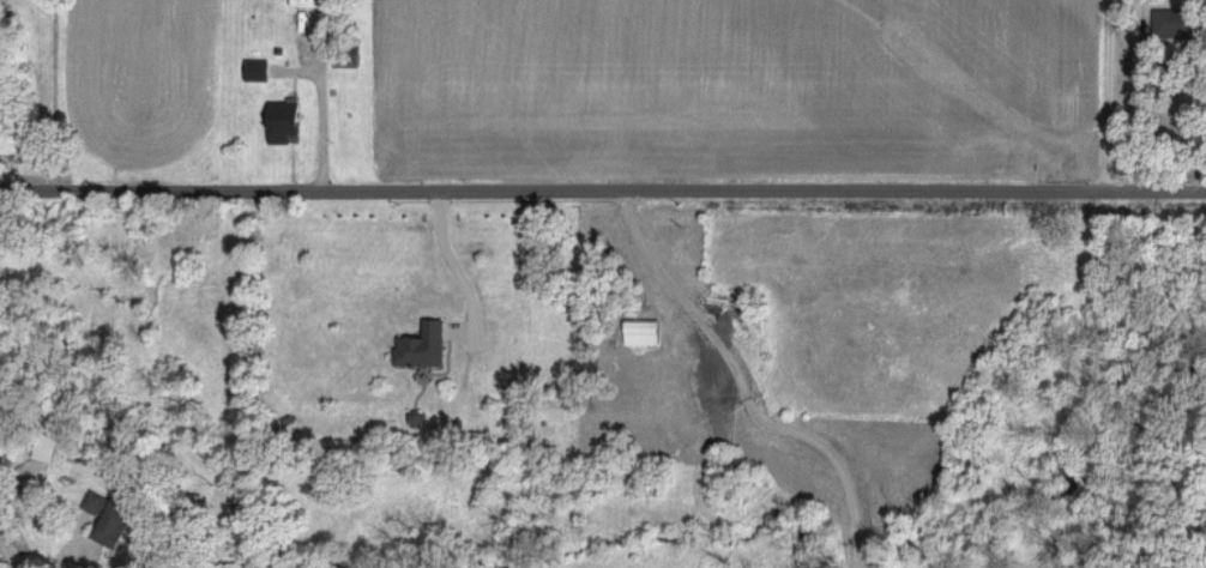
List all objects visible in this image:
building: (310, 1)
building: (1170, 22)
building: (255, 67)
road: (1103, 99)
building: (282, 119)
road: (322, 126)
road: (603, 186)
road: (571, 255)
road: (450, 258)
building: (640, 331)
building: (421, 344)
road: (744, 387)
building: (43, 446)
building: (107, 516)
road: (10, 550)

